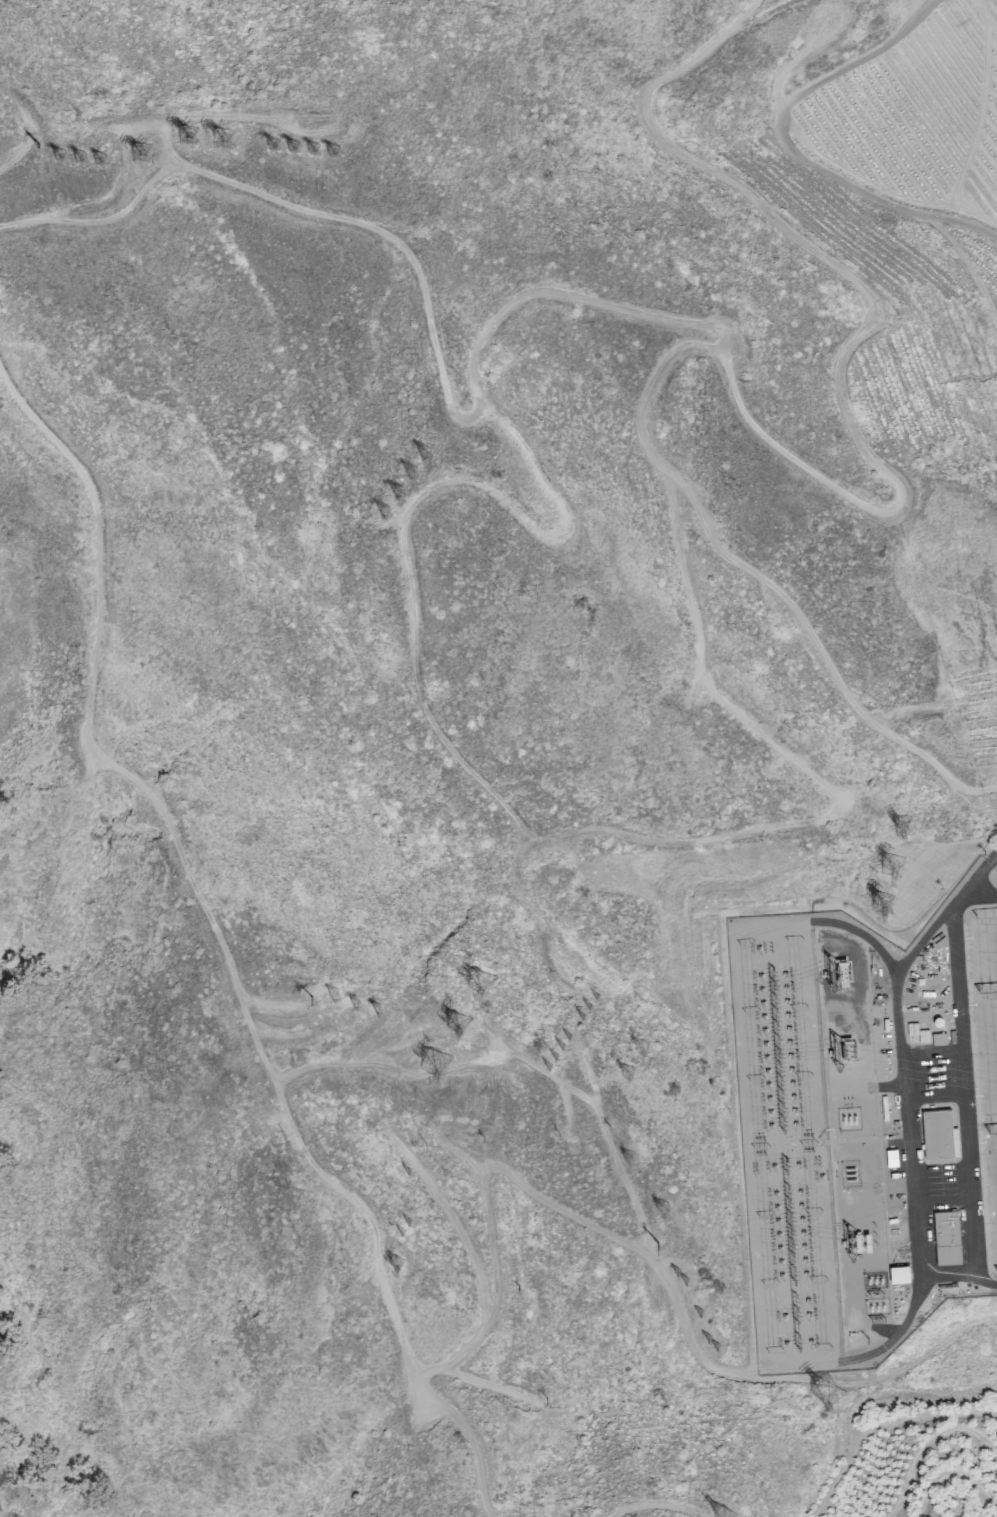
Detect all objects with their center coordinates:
power tower: (183, 141)
power tower: (221, 145)
power tower: (31, 149)
power tower: (271, 149)
power tower: (290, 149)
power tower: (139, 154)
power tower: (307, 154)
power tower: (330, 156)
power tower: (56, 159)
power tower: (76, 161)
power tower: (96, 166)
road: (718, 346)
power tower: (423, 457)
power tower: (410, 477)
power tower: (398, 496)
power tower: (381, 513)
power tower: (904, 824)
power tower: (908, 861)
road: (190, 863)
road: (973, 885)
power tower: (883, 904)
road: (860, 934)
power tower: (479, 980)
power tower: (595, 995)
power tower: (331, 1000)
power tower: (351, 1001)
power tower: (306, 1002)
power tower: (588, 1007)
power tower: (376, 1010)
power tower: (582, 1018)
power tower: (454, 1025)
power tower: (568, 1039)
power tower: (560, 1046)
power tower: (640, 1048)
power tower: (553, 1056)
power tower: (430, 1064)
power tower: (546, 1068)
power tower: (626, 1071)
power substation: (866, 1125)
building: (938, 1134)
power tower: (420, 1147)
power tower: (626, 1157)
power tower: (408, 1174)
road: (532, 1194)
power tower: (660, 1208)
power tower: (407, 1223)
power tower: (398, 1233)
building: (945, 1237)
power tower: (658, 1242)
power tower: (393, 1265)
power tower: (677, 1271)
road: (935, 1272)
building: (898, 1273)
power tower: (685, 1279)
power tower: (700, 1311)
power tower: (710, 1337)
power tower: (718, 1346)
road: (864, 1355)
power tower: (828, 1391)
power tower: (540, 1401)
power tower: (723, 1516)

